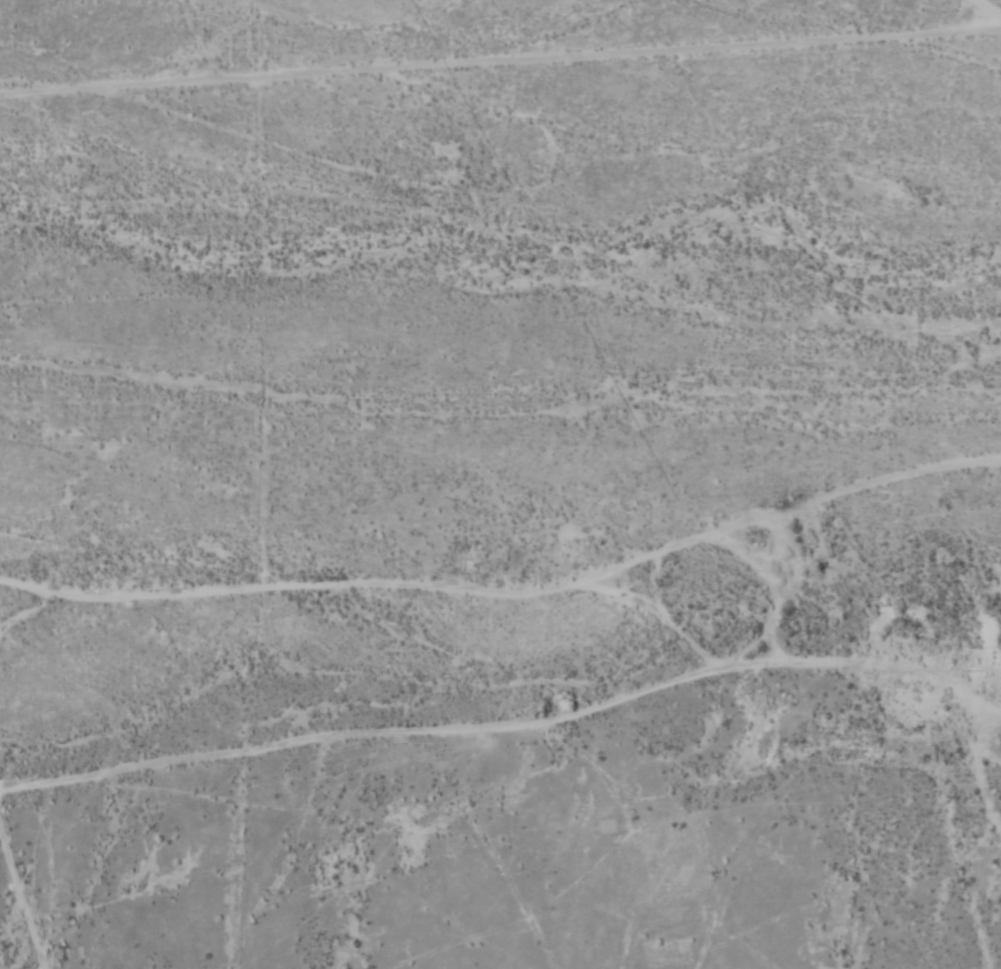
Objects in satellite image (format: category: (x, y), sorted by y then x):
road: (504, 756)

